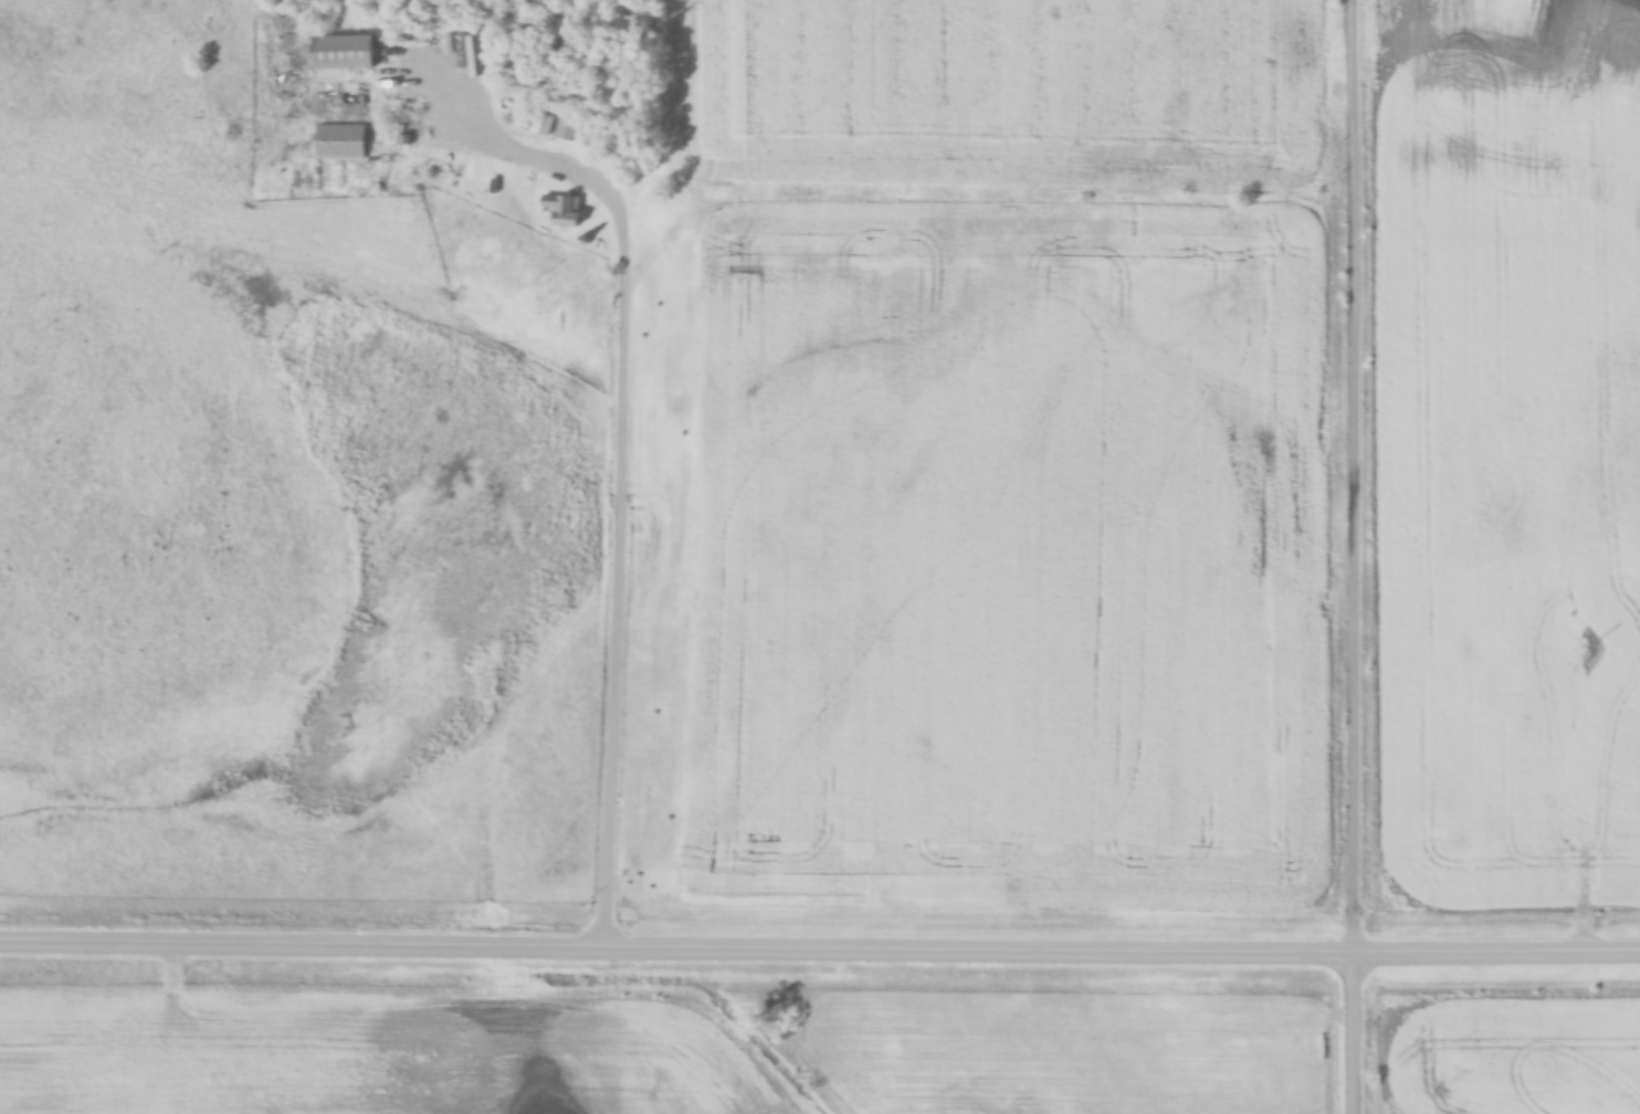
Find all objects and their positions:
building: (344, 51)
building: (341, 140)
building: (564, 209)
road: (622, 450)
road: (1357, 557)
building: (1504, 732)
road: (819, 947)

